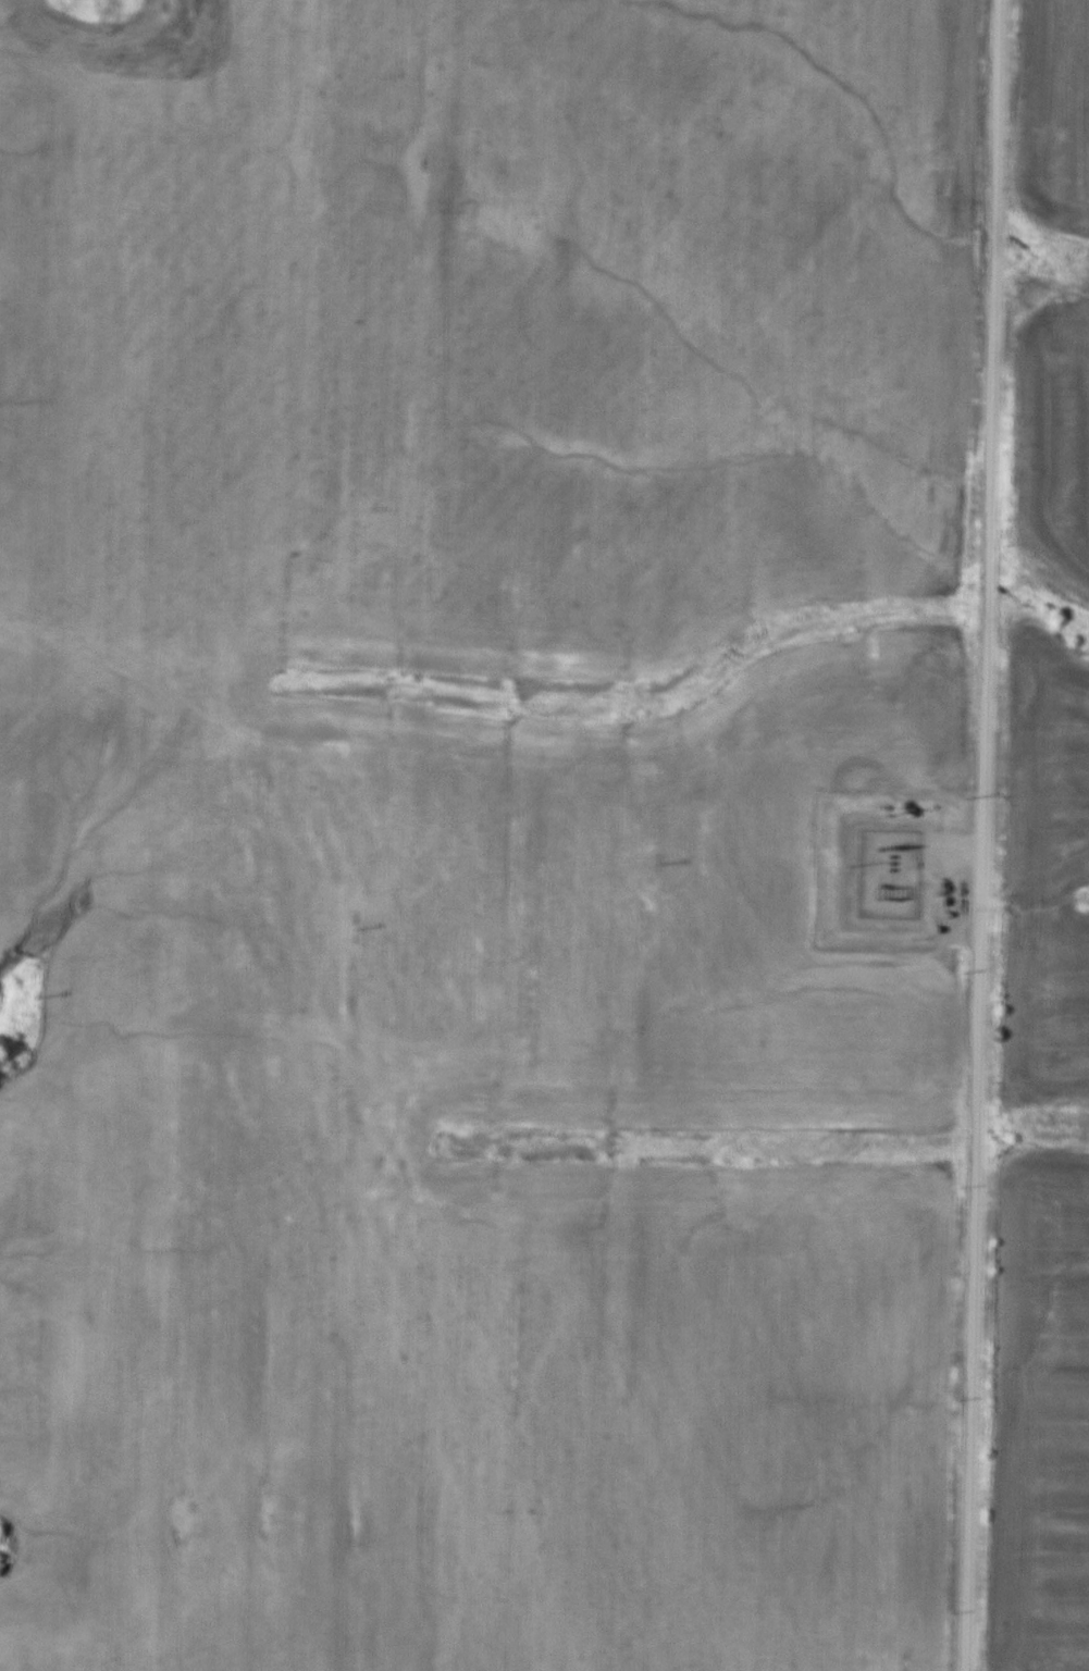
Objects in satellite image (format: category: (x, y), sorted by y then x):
road: (979, 834)

